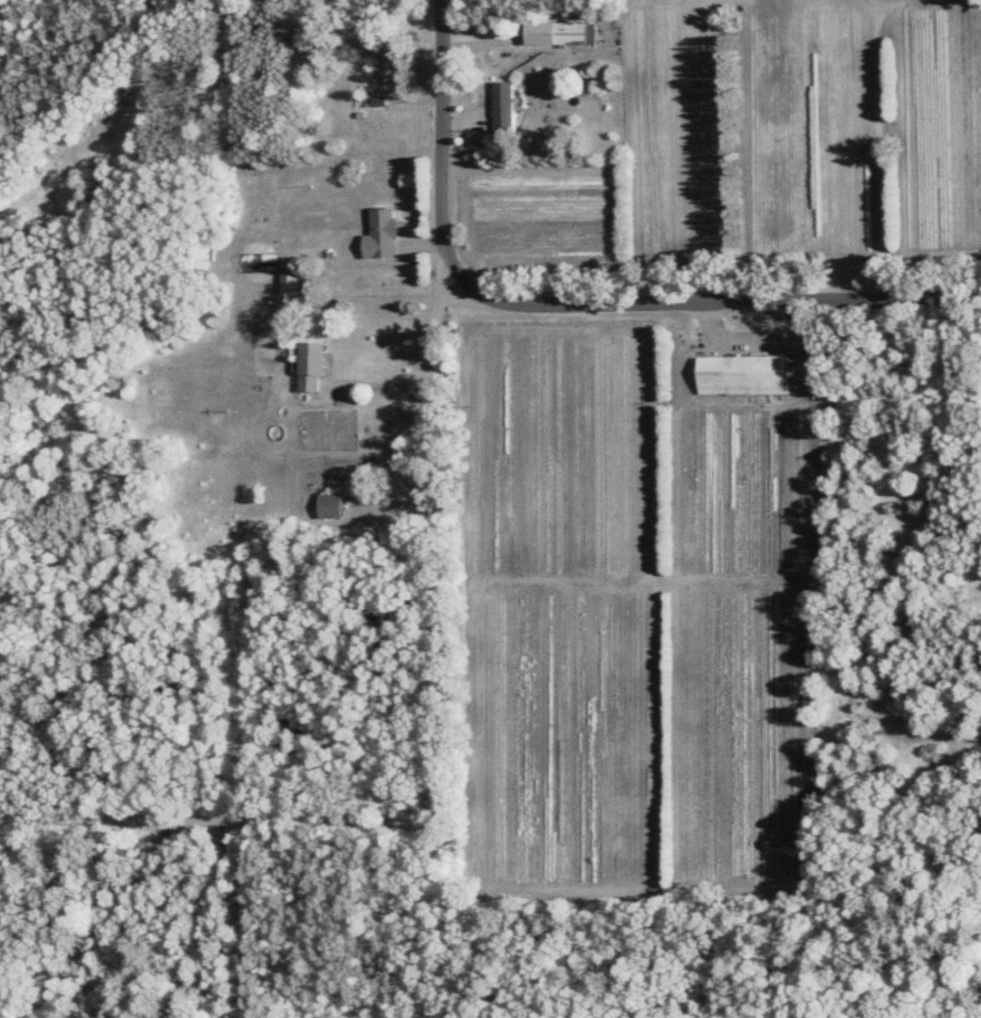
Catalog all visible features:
building: (572, 34)
building: (387, 77)
building: (500, 106)
road: (440, 121)
building: (378, 235)
road: (710, 275)
building: (286, 285)
building: (308, 367)
building: (740, 377)
road: (382, 383)
building: (328, 507)
road: (432, 721)
road: (418, 905)

